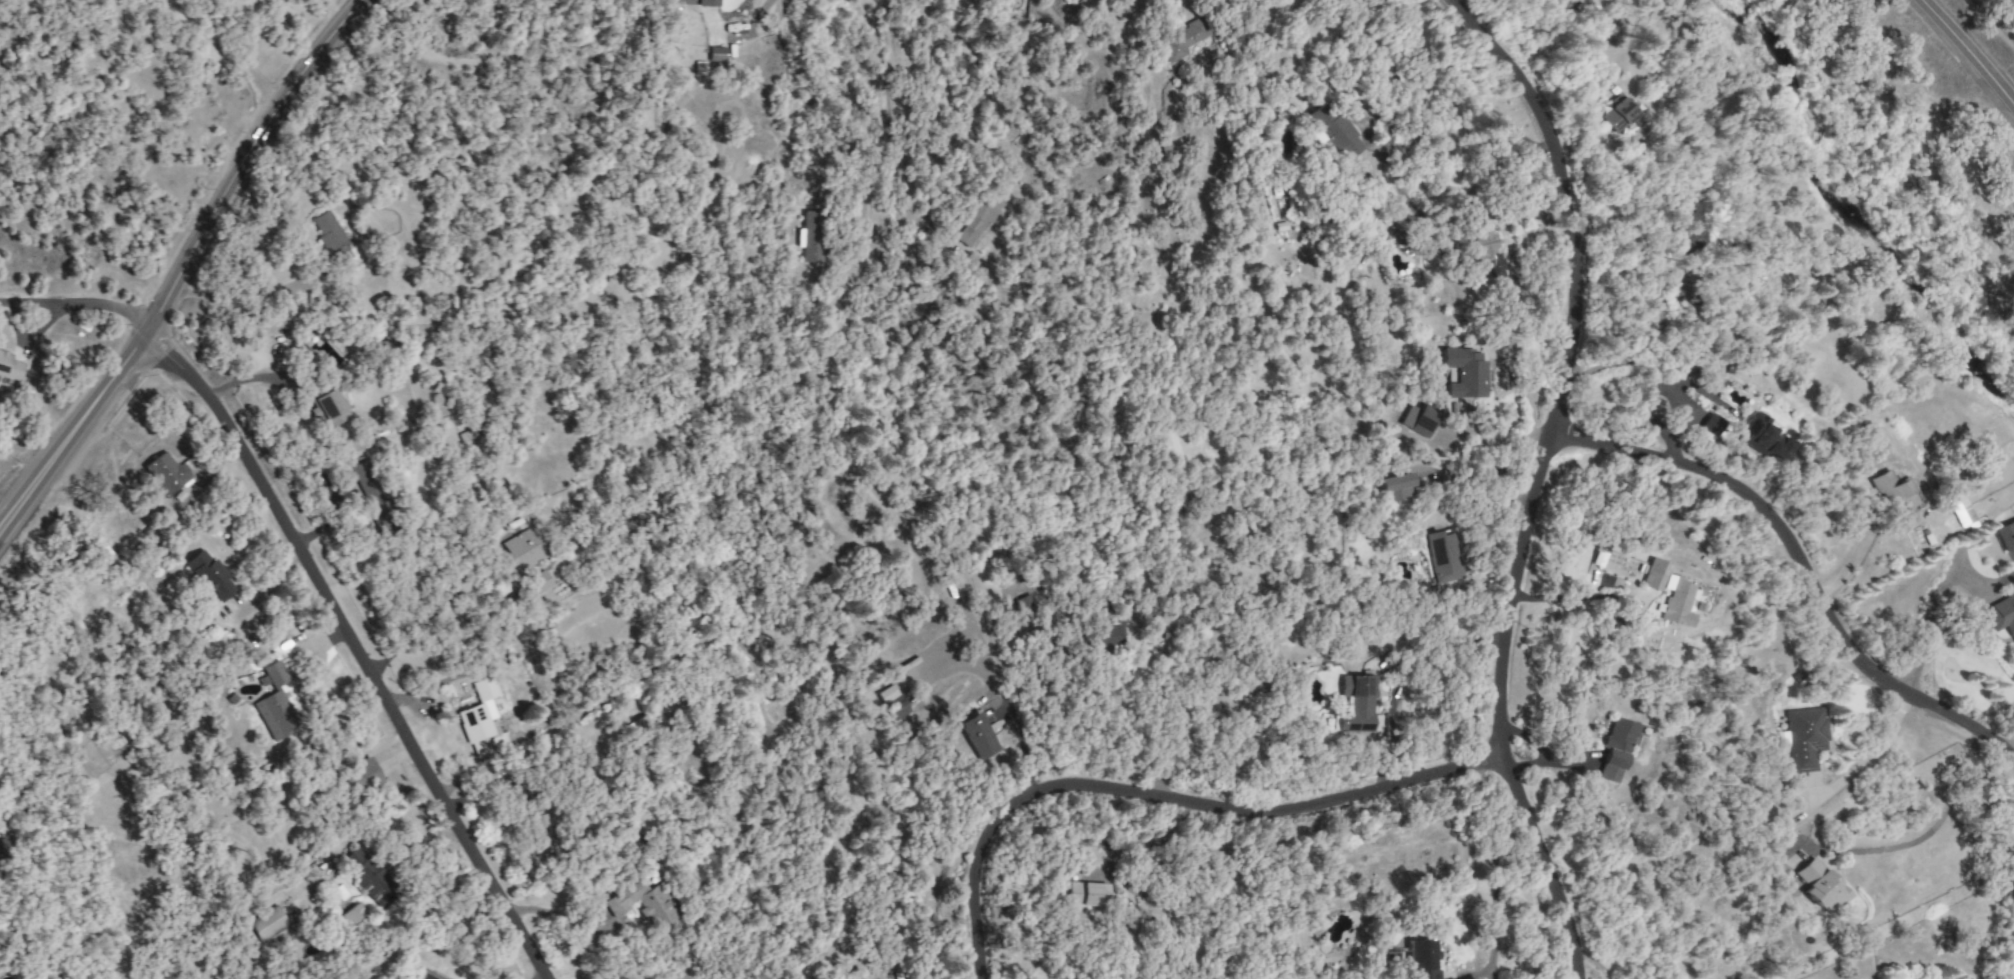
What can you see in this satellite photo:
building: (707, 3)
road: (1187, 4)
road: (1990, 25)
building: (1182, 40)
road: (1549, 43)
road: (873, 49)
road: (226, 51)
building: (715, 54)
road: (1966, 56)
building: (1618, 114)
building: (1333, 131)
road: (242, 164)
road: (867, 188)
building: (978, 219)
building: (1689, 222)
building: (810, 237)
building: (331, 238)
building: (1479, 250)
road: (248, 297)
road: (75, 305)
building: (10, 366)
building: (1463, 373)
road: (246, 378)
building: (327, 408)
building: (1418, 419)
building: (1710, 427)
road: (72, 431)
building: (1762, 438)
building: (167, 473)
road: (1542, 480)
building: (1396, 486)
building: (369, 490)
building: (1895, 492)
building: (629, 526)
building: (2005, 535)
building: (519, 552)
road: (1855, 552)
building: (1443, 556)
building: (1598, 559)
road: (1802, 570)
building: (1653, 574)
building: (209, 576)
building: (536, 583)
road: (1575, 595)
building: (1675, 601)
building: (1024, 607)
building: (2001, 616)
road: (1927, 632)
building: (1110, 634)
road: (357, 649)
building: (274, 704)
building: (1360, 705)
building: (897, 706)
building: (479, 720)
building: (646, 725)
road: (1086, 730)
building: (977, 736)
building: (1803, 737)
road: (2002, 743)
building: (1614, 749)
road: (1865, 755)
building: (358, 776)
road: (1164, 797)
building: (540, 828)
road: (1932, 829)
building: (0, 851)
road: (1492, 873)
building: (368, 878)
building: (1819, 886)
building: (1086, 894)
building: (645, 904)
road: (559, 913)
building: (353, 916)
building: (267, 923)
building: (1420, 960)
building: (426, 975)

